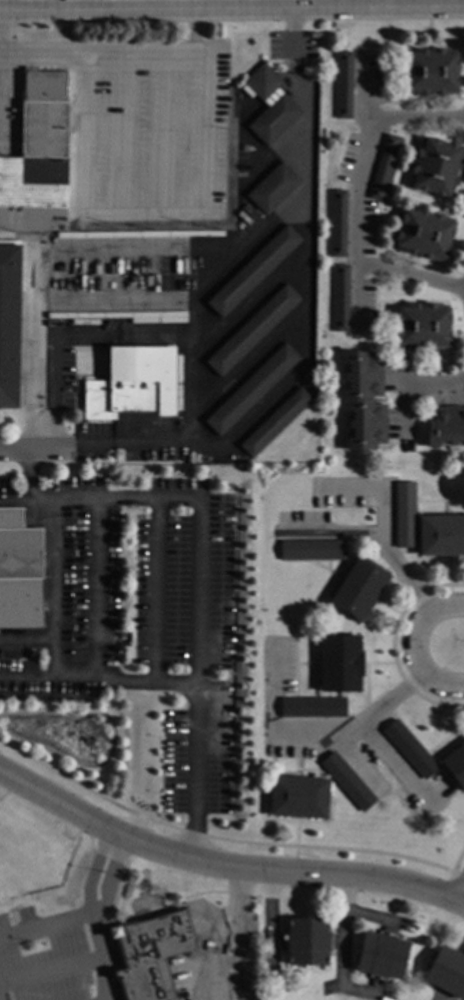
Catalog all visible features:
road: (72, 5)
road: (232, 9)
road: (2, 39)
road: (122, 56)
building: (431, 71)
building: (257, 77)
building: (342, 84)
road: (421, 117)
building: (274, 119)
building: (435, 167)
building: (385, 168)
building: (37, 170)
building: (273, 188)
road: (354, 196)
building: (336, 223)
building: (424, 234)
building: (253, 271)
road: (409, 276)
building: (339, 298)
building: (9, 324)
building: (423, 326)
building: (252, 330)
road: (191, 347)
road: (30, 351)
building: (133, 384)
road: (430, 386)
building: (251, 390)
building: (363, 400)
road: (406, 409)
building: (275, 422)
building: (446, 426)
road: (50, 447)
road: (30, 475)
road: (99, 502)
building: (404, 515)
road: (377, 531)
road: (330, 533)
building: (441, 535)
building: (312, 550)
building: (19, 575)
road: (446, 583)
building: (358, 588)
road: (53, 593)
road: (99, 593)
road: (157, 593)
road: (393, 612)
road: (26, 640)
road: (391, 647)
road: (408, 647)
building: (340, 663)
road: (386, 665)
road: (195, 678)
road: (97, 684)
building: (312, 707)
road: (447, 718)
road: (310, 733)
building: (410, 749)
road: (394, 764)
building: (455, 765)
building: (347, 781)
building: (298, 797)
road: (216, 840)
road: (294, 846)
road: (457, 860)
road: (223, 864)
road: (457, 876)
road: (462, 893)
road: (95, 916)
road: (375, 917)
road: (47, 928)
road: (239, 934)
building: (307, 941)
road: (342, 949)
parking lot: (50, 951)
building: (152, 955)
building: (381, 955)
building: (447, 972)

